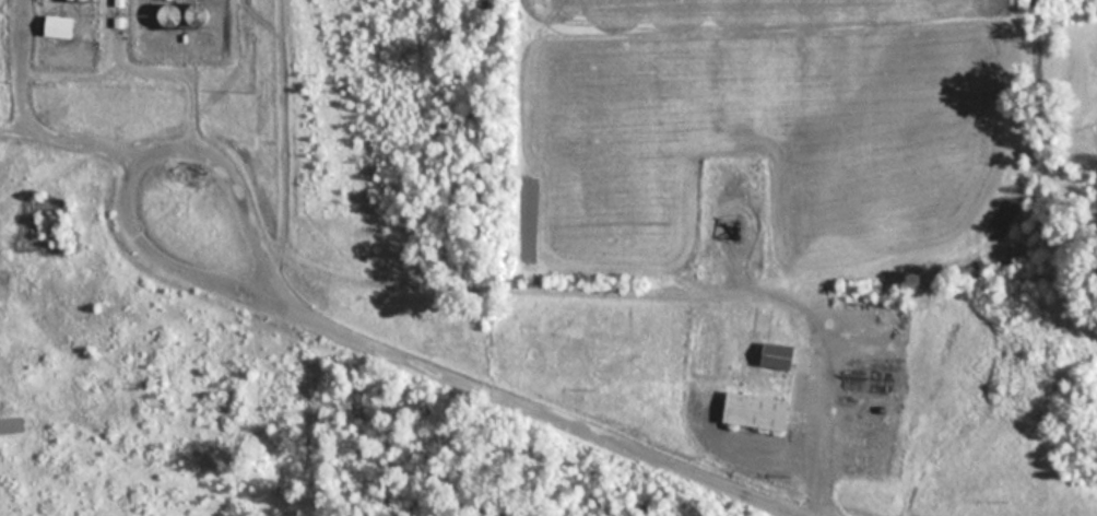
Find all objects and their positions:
road: (107, 154)
petroleum well: (735, 227)
building: (769, 355)
road: (825, 361)
road: (473, 387)
building: (747, 410)

